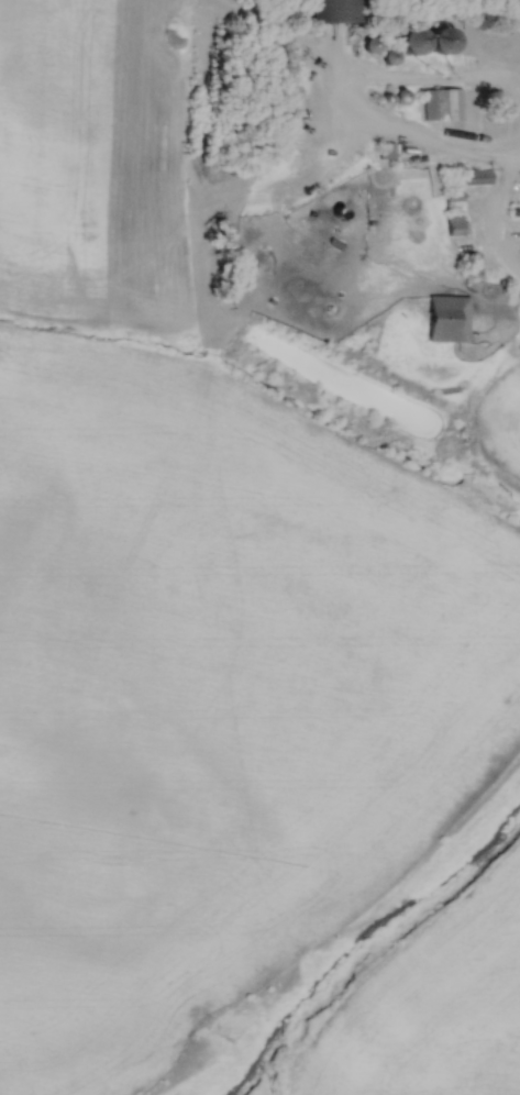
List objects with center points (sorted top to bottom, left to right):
building: (333, 10)
building: (414, 38)
building: (441, 40)
building: (440, 102)
building: (476, 176)
building: (452, 200)
building: (455, 224)
building: (446, 317)
river: (365, 947)

